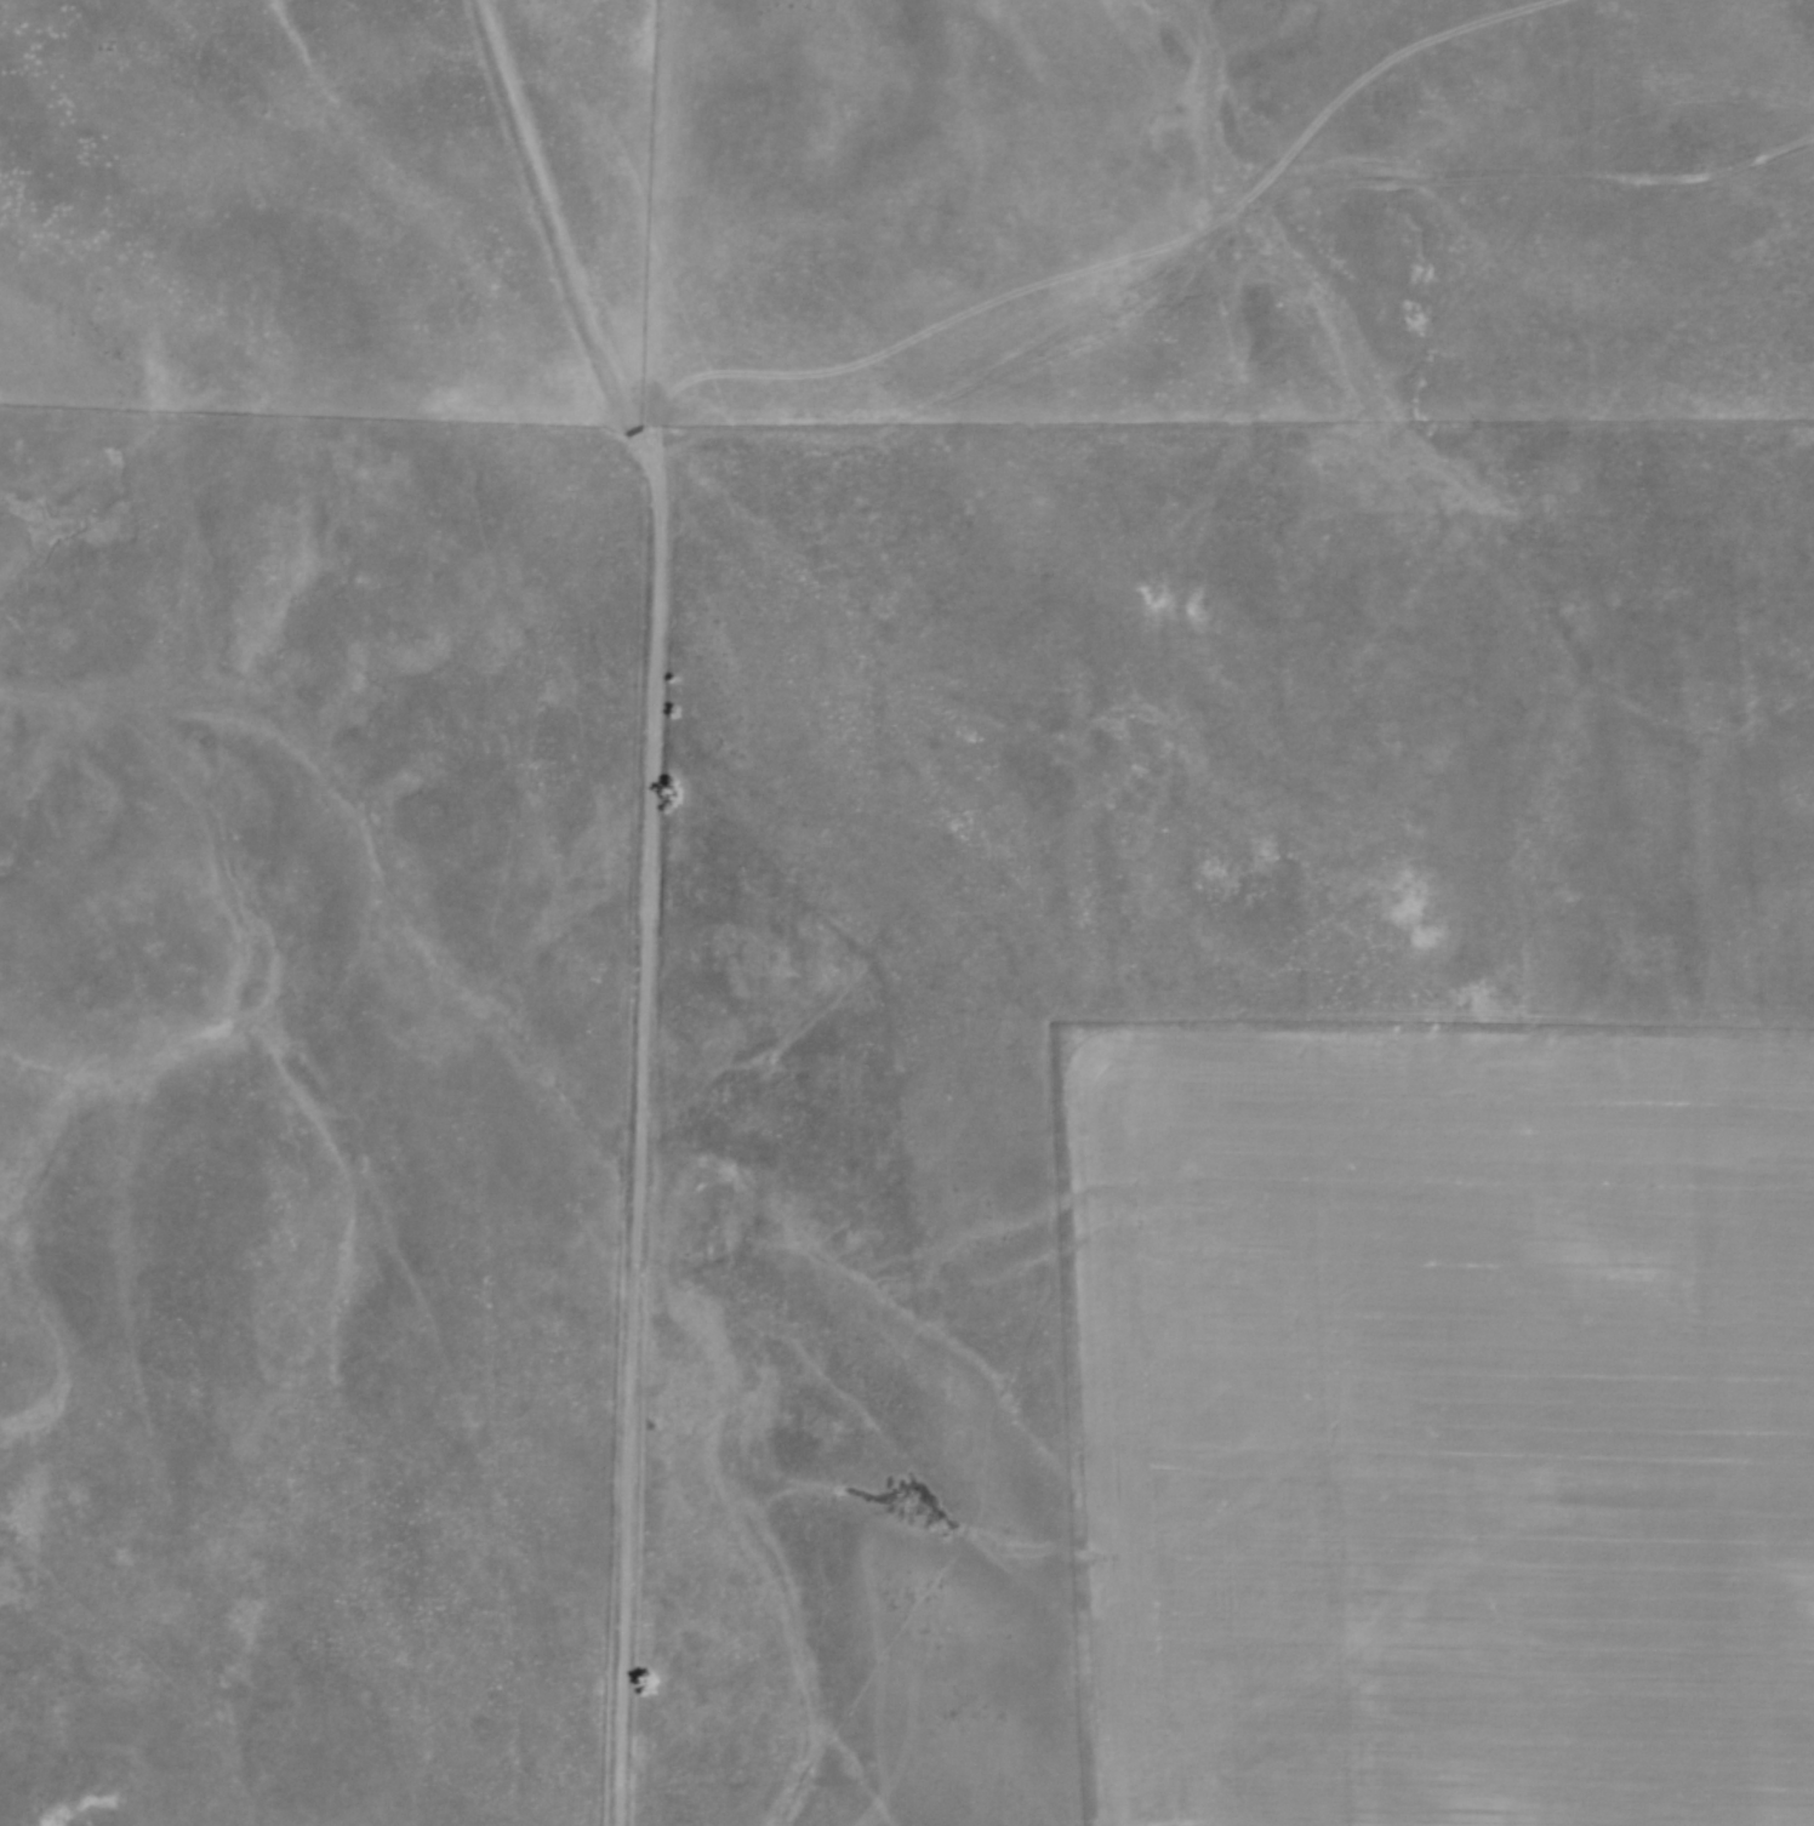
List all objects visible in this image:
road: (644, 897)
crop: (1571, 1422)

